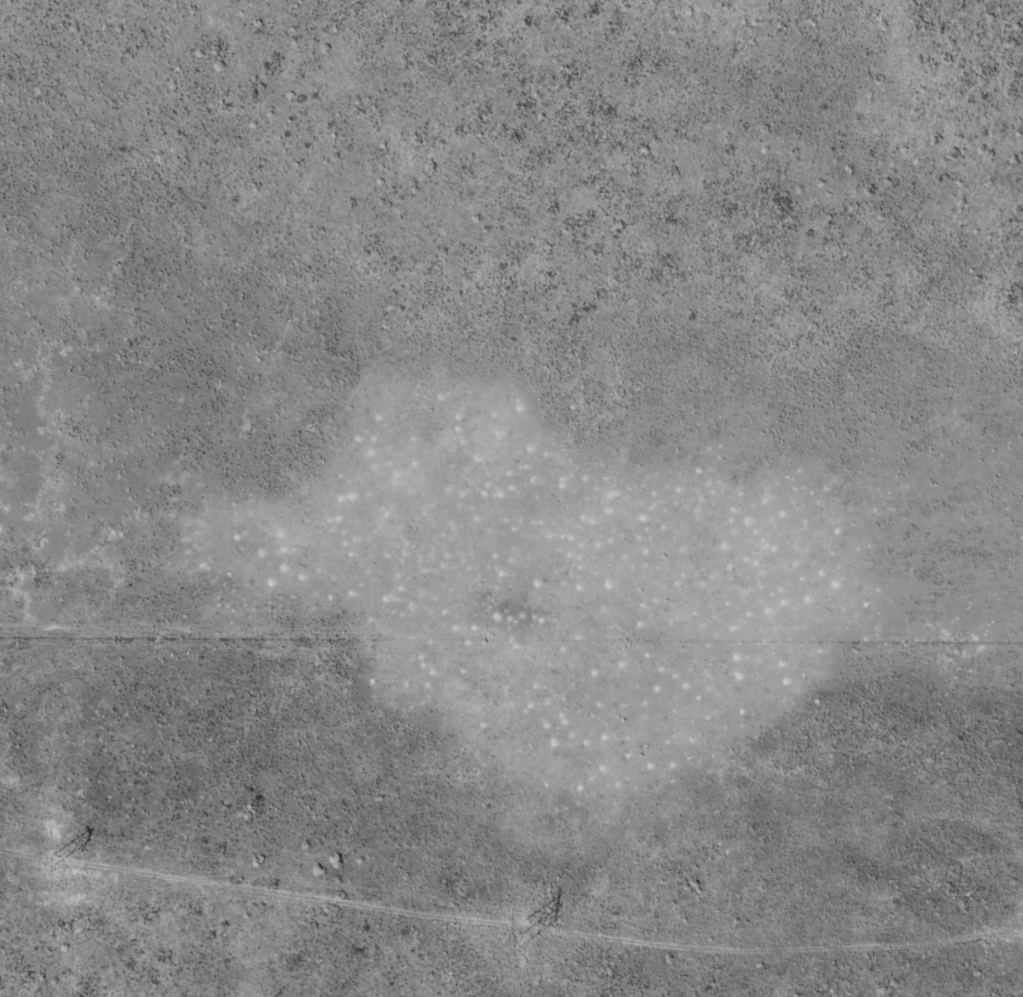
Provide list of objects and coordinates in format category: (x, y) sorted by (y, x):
power tower: (52, 861)
power tower: (522, 938)

